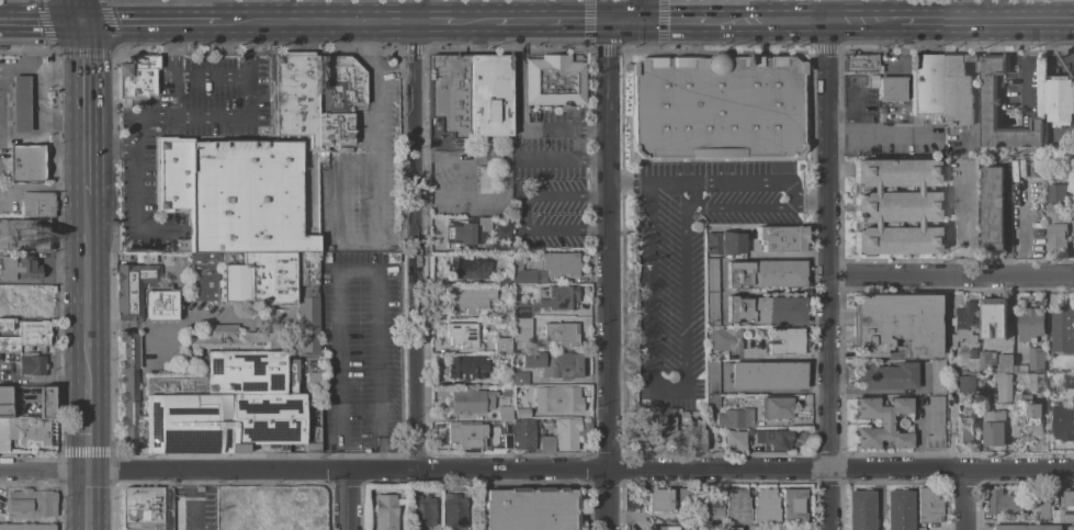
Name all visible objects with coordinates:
road: (79, 9)
road: (176, 9)
road: (249, 9)
road: (376, 10)
road: (506, 10)
road: (647, 10)
road: (41, 18)
traffic signals: (82, 18)
road: (149, 18)
road: (315, 19)
road: (432, 20)
road: (475, 20)
road: (986, 20)
road: (553, 21)
traffic signals: (584, 21)
road: (628, 21)
traffic signals: (668, 21)
road: (678, 21)
road: (768, 21)
road: (862, 22)
road: (176, 36)
road: (249, 36)
road: (516, 37)
road: (970, 37)
road: (368, 48)
traffic signals: (609, 56)
road: (970, 58)
building: (859, 63)
road: (176, 65)
road: (41, 69)
building: (136, 76)
road: (189, 76)
building: (553, 81)
building: (339, 82)
building: (927, 87)
building: (890, 88)
building: (959, 90)
building: (449, 93)
building: (293, 94)
building: (489, 95)
building: (1060, 99)
building: (991, 101)
building: (16, 102)
road: (82, 106)
building: (715, 106)
road: (155, 122)
road: (517, 126)
building: (332, 131)
road: (598, 131)
road: (969, 134)
parking lot: (185, 135)
road: (41, 139)
road: (827, 147)
road: (101, 148)
road: (127, 148)
building: (1062, 148)
road: (378, 153)
road: (538, 159)
road: (597, 160)
building: (23, 161)
building: (1060, 167)
building: (171, 173)
building: (481, 179)
road: (811, 179)
road: (723, 180)
road: (630, 181)
building: (1055, 192)
road: (597, 196)
building: (246, 198)
building: (37, 204)
road: (336, 205)
building: (893, 206)
building: (993, 207)
road: (744, 211)
road: (816, 211)
road: (522, 215)
road: (1024, 217)
building: (1056, 226)
building: (466, 232)
building: (24, 234)
road: (597, 234)
road: (405, 235)
building: (781, 238)
road: (415, 244)
building: (725, 244)
building: (468, 267)
building: (18, 268)
building: (544, 268)
road: (355, 272)
building: (765, 273)
road: (951, 273)
building: (203, 275)
road: (609, 275)
building: (502, 280)
building: (275, 285)
building: (132, 289)
road: (83, 290)
building: (709, 290)
building: (559, 297)
building: (21, 298)
building: (467, 298)
building: (160, 303)
building: (520, 309)
building: (765, 309)
building: (993, 316)
building: (894, 324)
building: (961, 324)
building: (1030, 324)
building: (4, 325)
road: (180, 325)
building: (523, 327)
building: (1063, 328)
building: (561, 334)
building: (461, 335)
building: (26, 336)
building: (724, 339)
building: (784, 341)
building: (501, 342)
parking lot: (358, 351)
building: (972, 352)
building: (1037, 358)
building: (995, 361)
building: (1017, 361)
building: (554, 363)
building: (30, 364)
building: (473, 371)
building: (949, 374)
building: (766, 375)
building: (885, 376)
building: (936, 376)
building: (520, 377)
building: (711, 377)
building: (1070, 380)
building: (1035, 381)
building: (964, 384)
building: (1004, 386)
building: (310, 390)
building: (505, 393)
road: (668, 394)
building: (214, 397)
building: (556, 398)
building: (4, 402)
building: (470, 402)
road: (829, 402)
building: (44, 403)
building: (776, 407)
building: (731, 409)
building: (504, 414)
building: (1027, 417)
building: (682, 418)
building: (545, 420)
building: (1063, 420)
building: (935, 422)
building: (881, 424)
building: (964, 427)
building: (994, 427)
road: (84, 428)
building: (658, 428)
building: (749, 431)
building: (24, 433)
building: (313, 433)
building: (465, 435)
building: (522, 435)
building: (562, 436)
building: (694, 437)
building: (506, 438)
building: (711, 439)
building: (773, 439)
building: (734, 440)
building: (759, 447)
road: (383, 455)
road: (337, 456)
road: (536, 467)
road: (190, 482)
building: (682, 497)
road: (965, 498)
building: (657, 499)
road: (348, 500)
road: (86, 501)
building: (1004, 503)
building: (30, 504)
building: (928, 504)
building: (736, 505)
building: (765, 505)
building: (793, 506)
building: (1041, 506)
building: (293, 507)
building: (146, 508)
building: (1065, 508)
building: (529, 509)
building: (233, 510)
building: (710, 510)
building: (860, 510)
building: (897, 510)
road: (190, 511)
building: (385, 511)
building: (420, 511)
building: (453, 511)
building: (256, 515)
building: (26, 526)
building: (267, 527)
building: (669, 527)
building: (1029, 527)
building: (732, 528)
building: (788, 528)
building: (920, 529)

